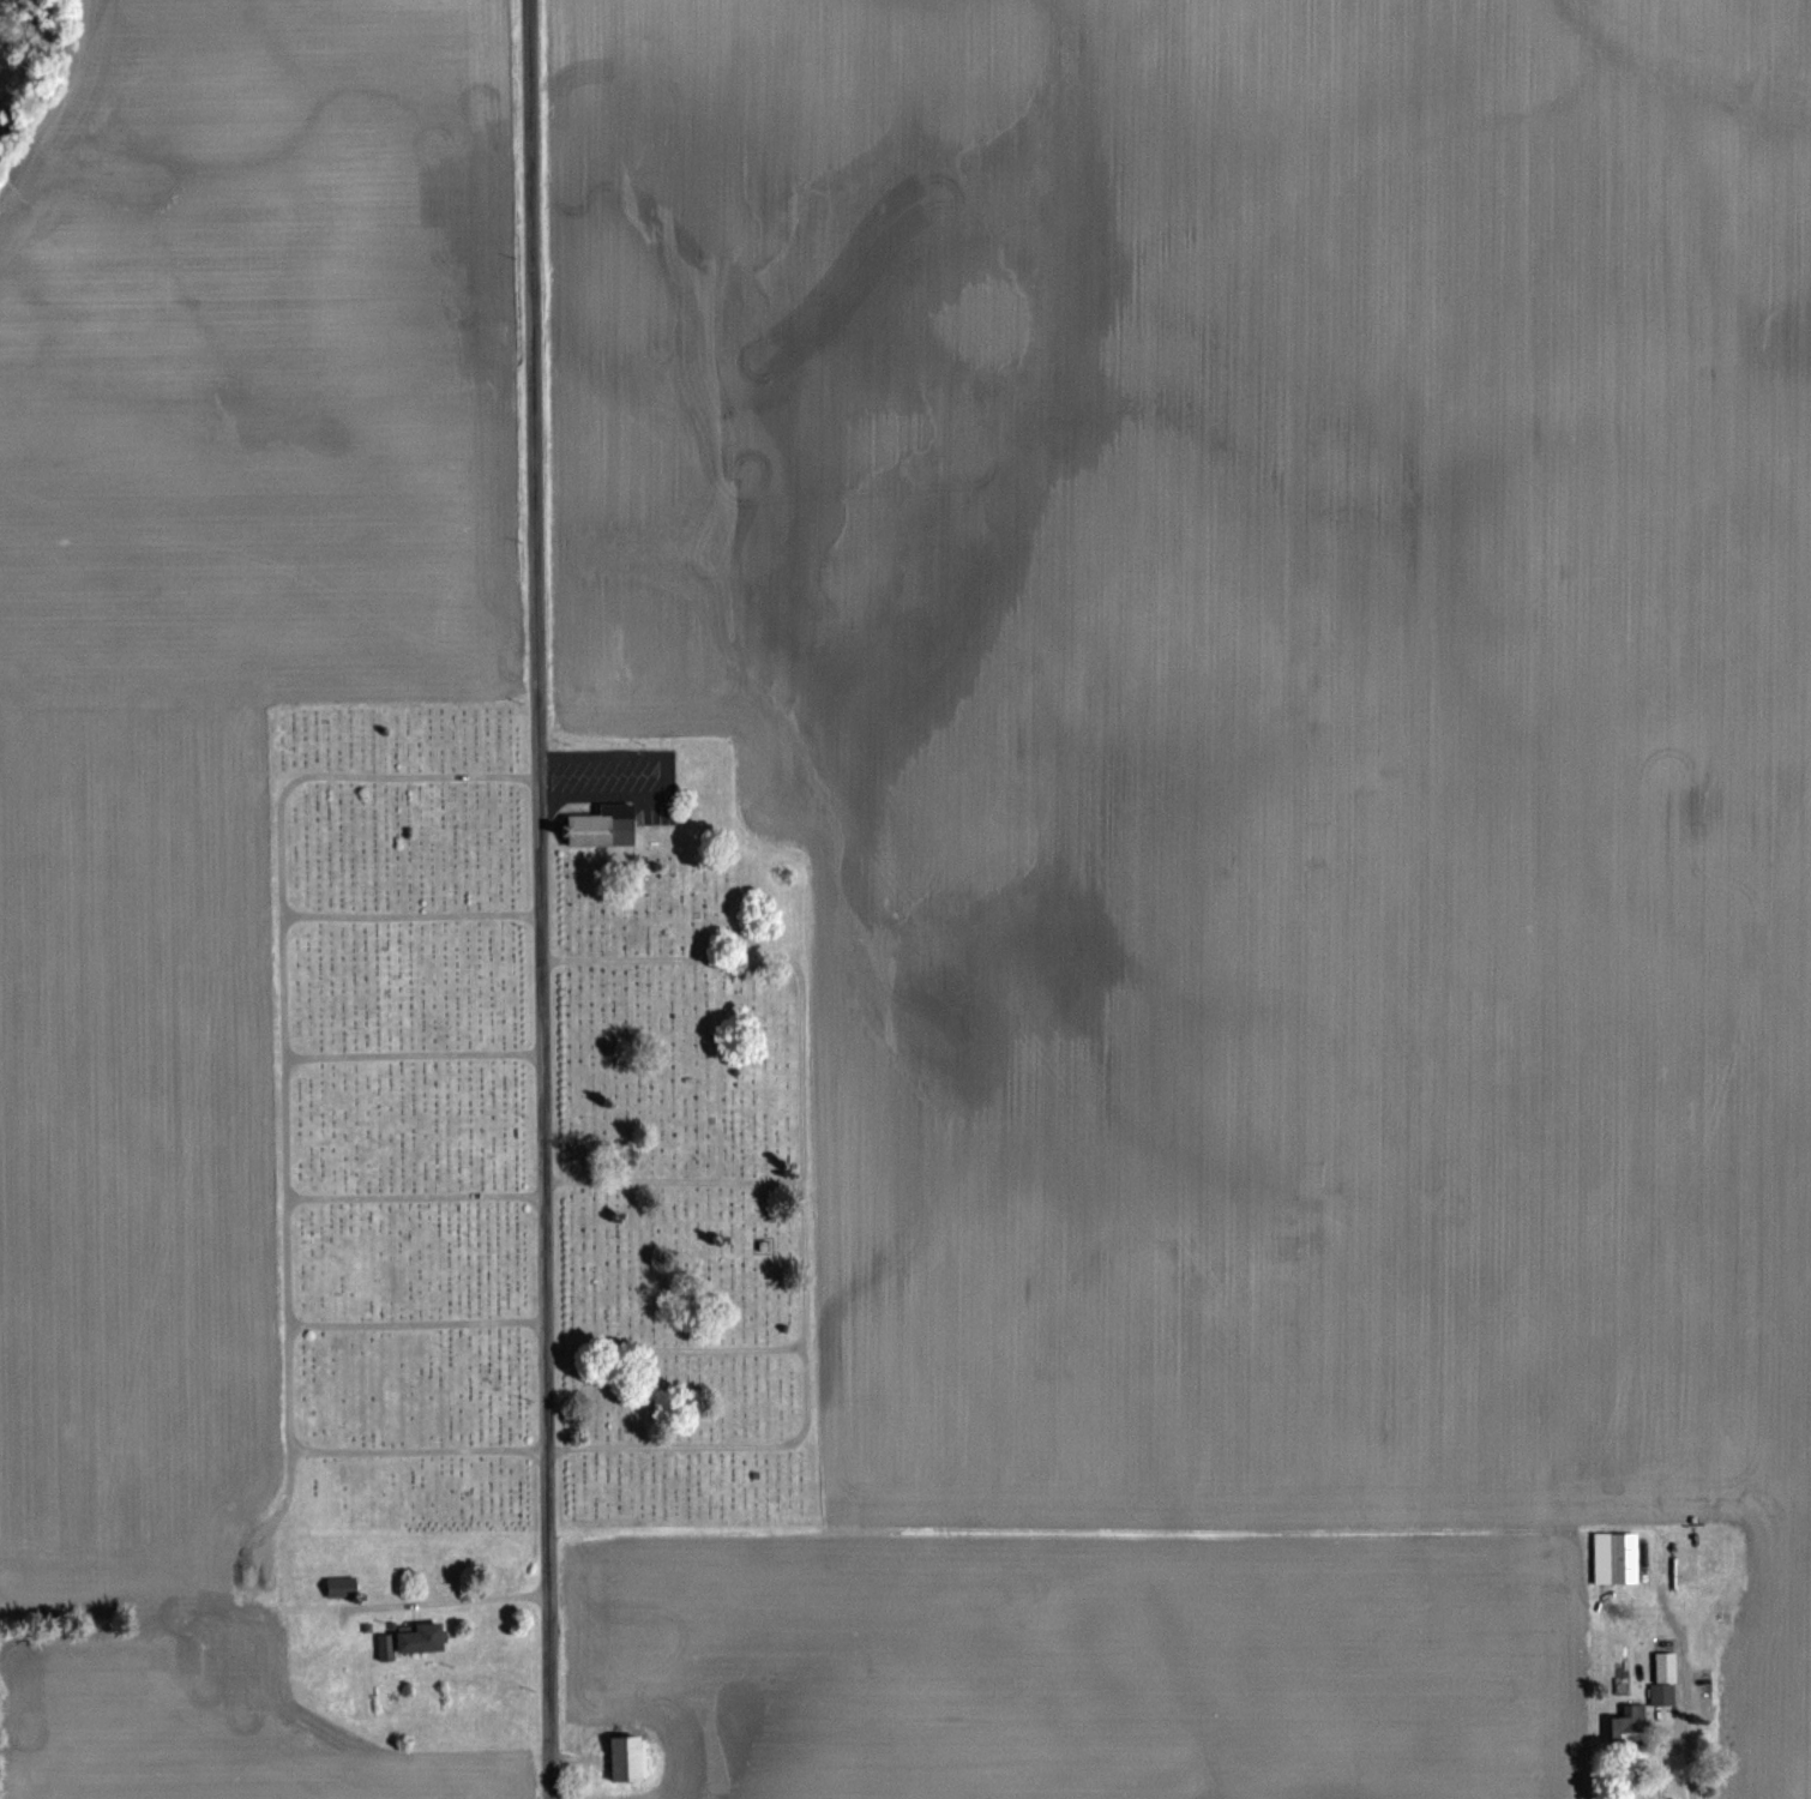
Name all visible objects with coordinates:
building: (26, 769)
road: (672, 771)
building: (601, 826)
road: (542, 898)
road: (414, 916)
road: (416, 1055)
road: (290, 1112)
road: (675, 1180)
road: (417, 1196)
road: (808, 1202)
road: (420, 1322)
road: (678, 1349)
building: (1623, 1559)
building: (1714, 1562)
building: (342, 1588)
road: (449, 1604)
building: (420, 1639)
building: (385, 1649)
building: (1661, 1696)
building: (1629, 1727)
road: (1671, 1747)
building: (627, 1759)

